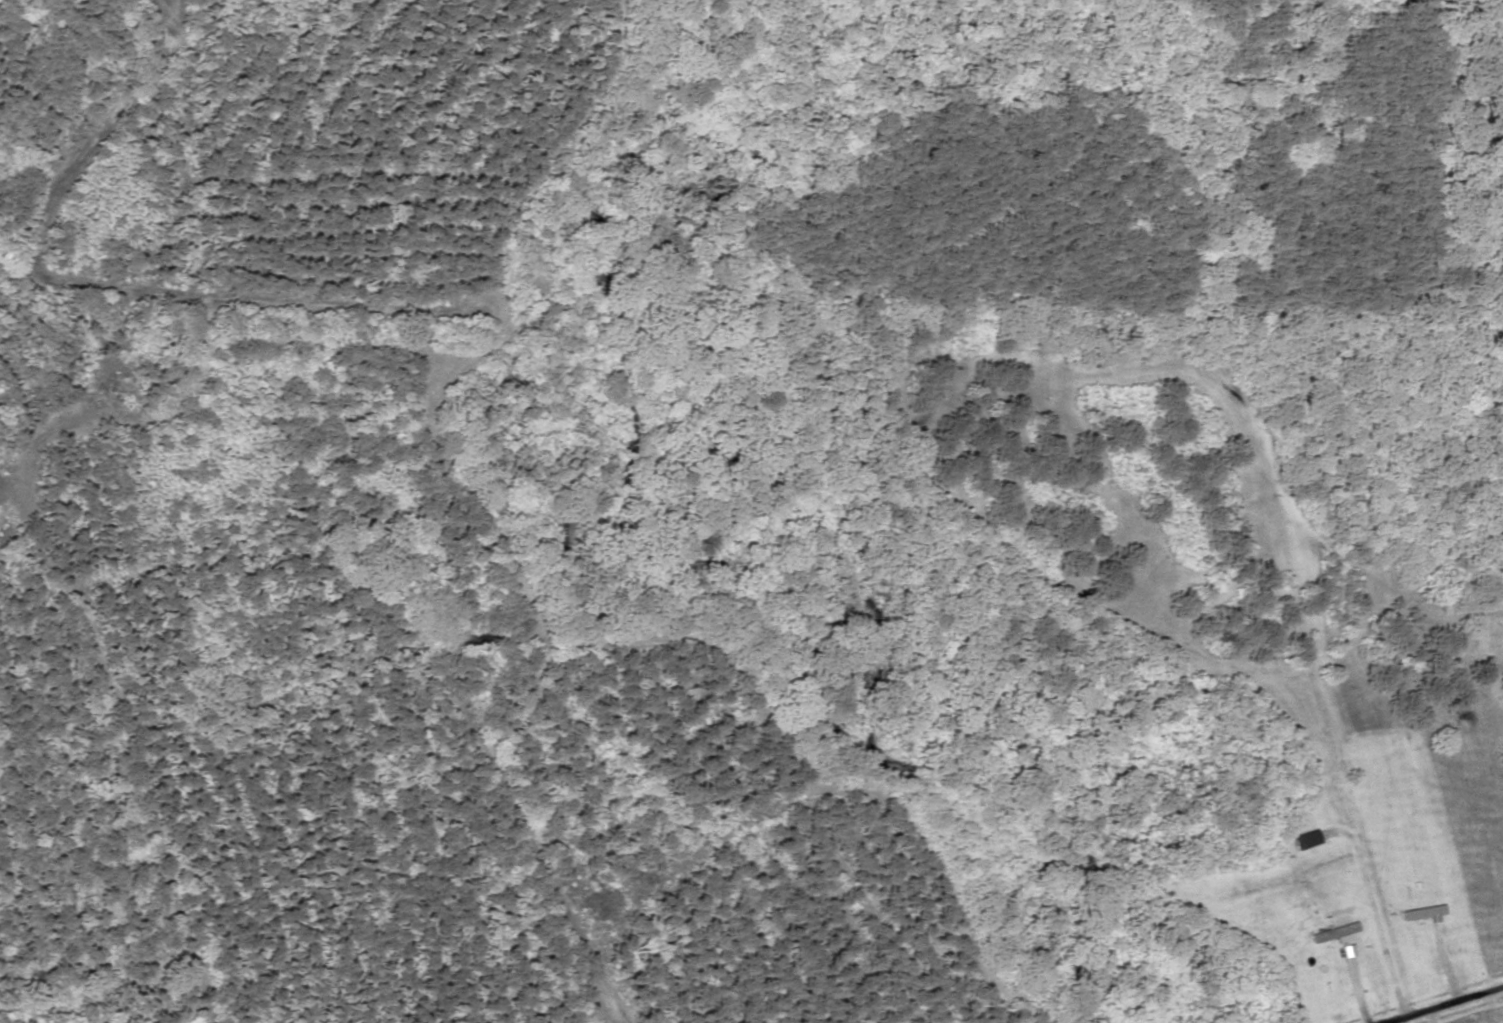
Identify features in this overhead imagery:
building: (1424, 913)

